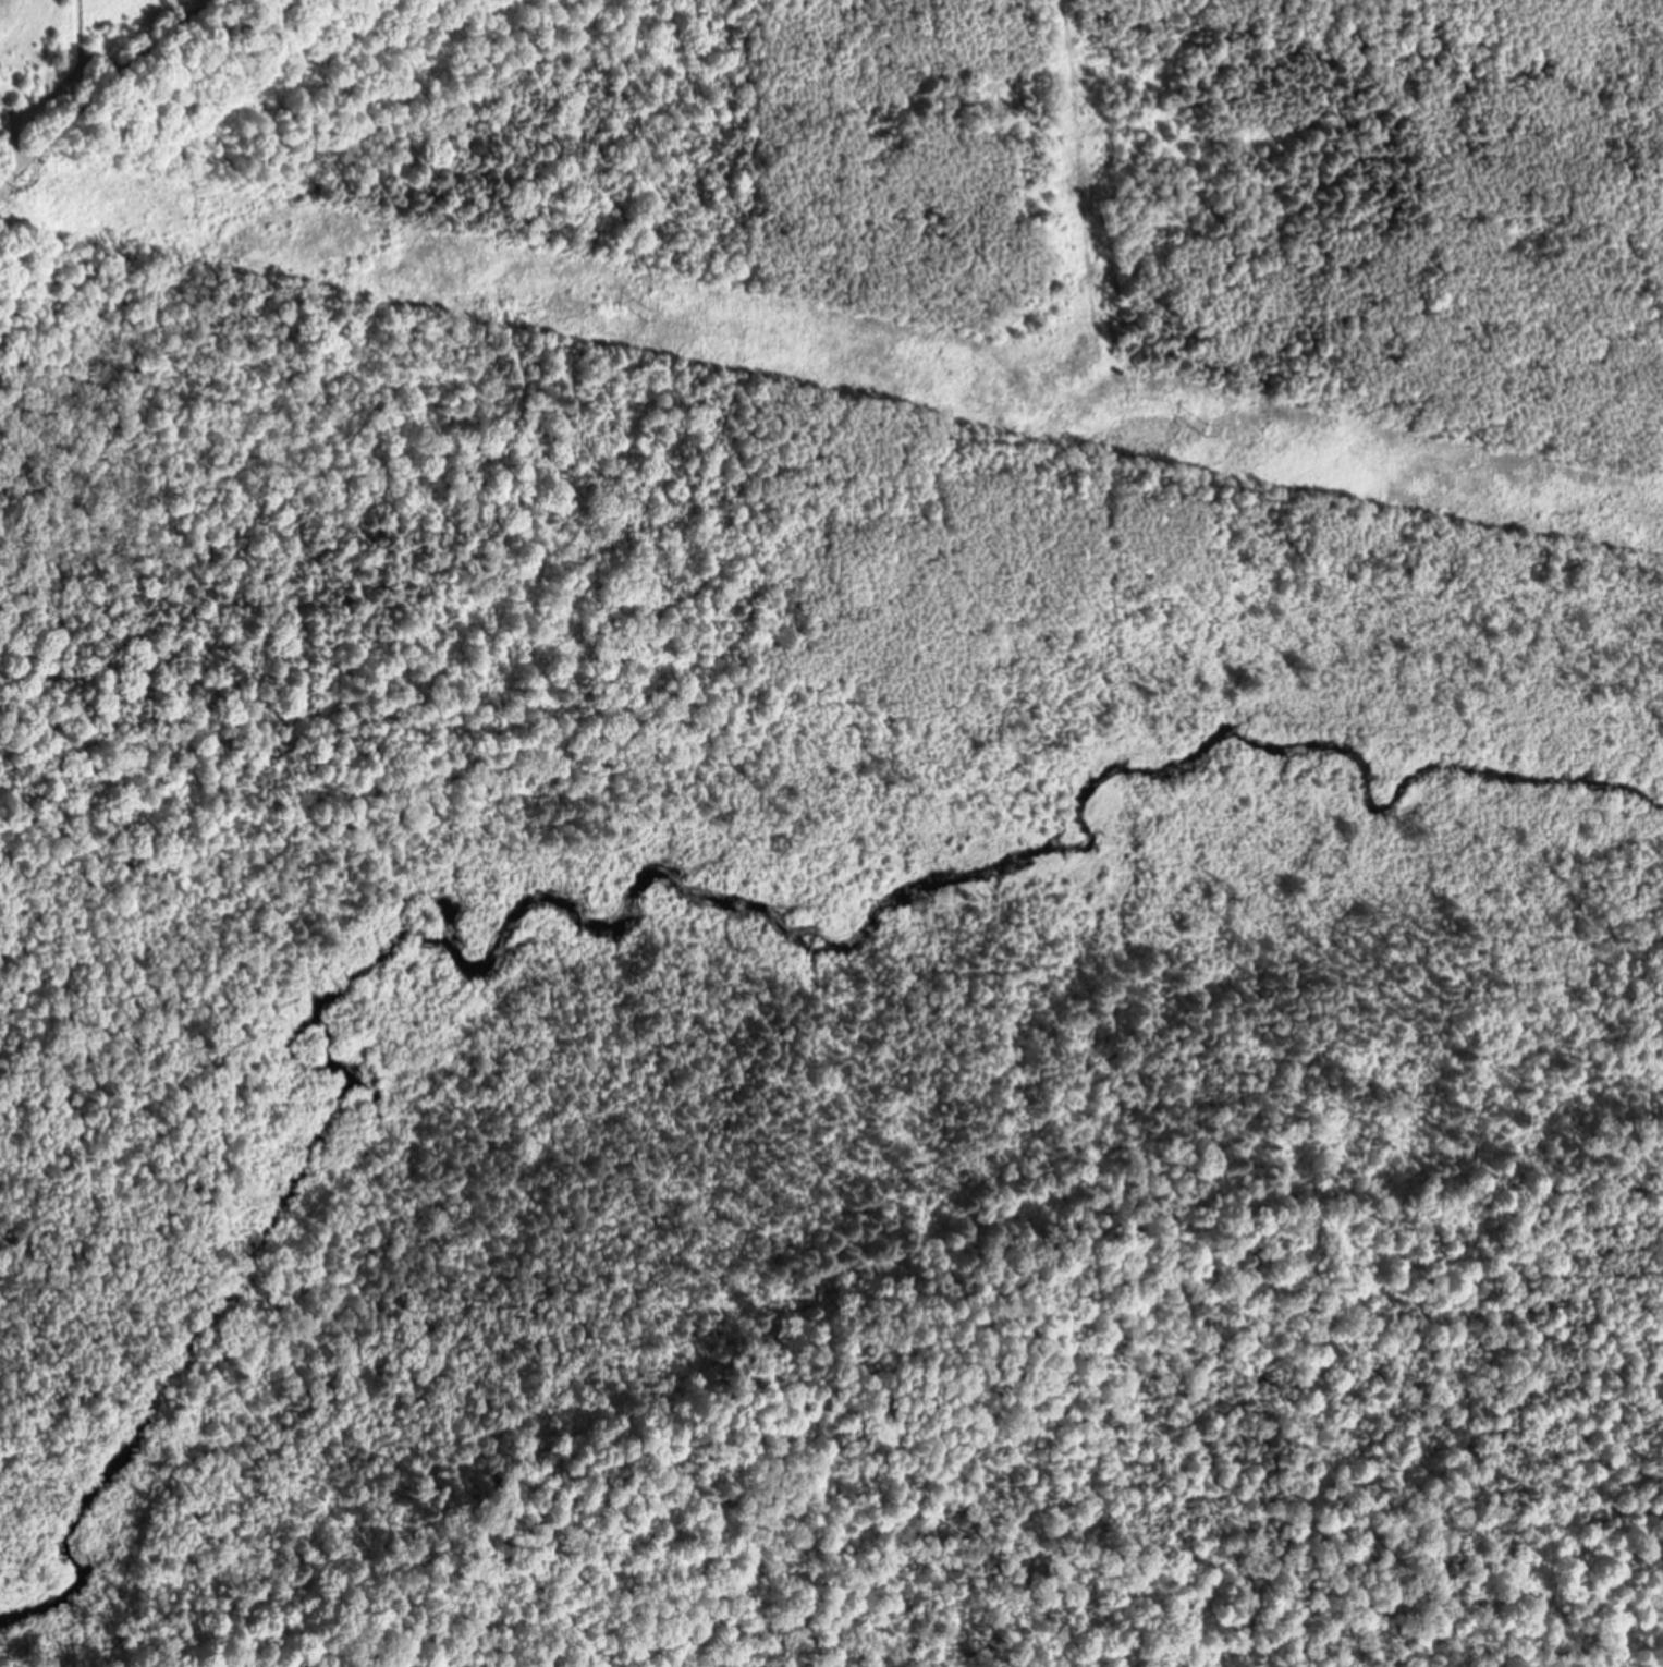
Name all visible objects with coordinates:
power tower: (26, 188)
power tower: (649, 317)
power tower: (1200, 431)

